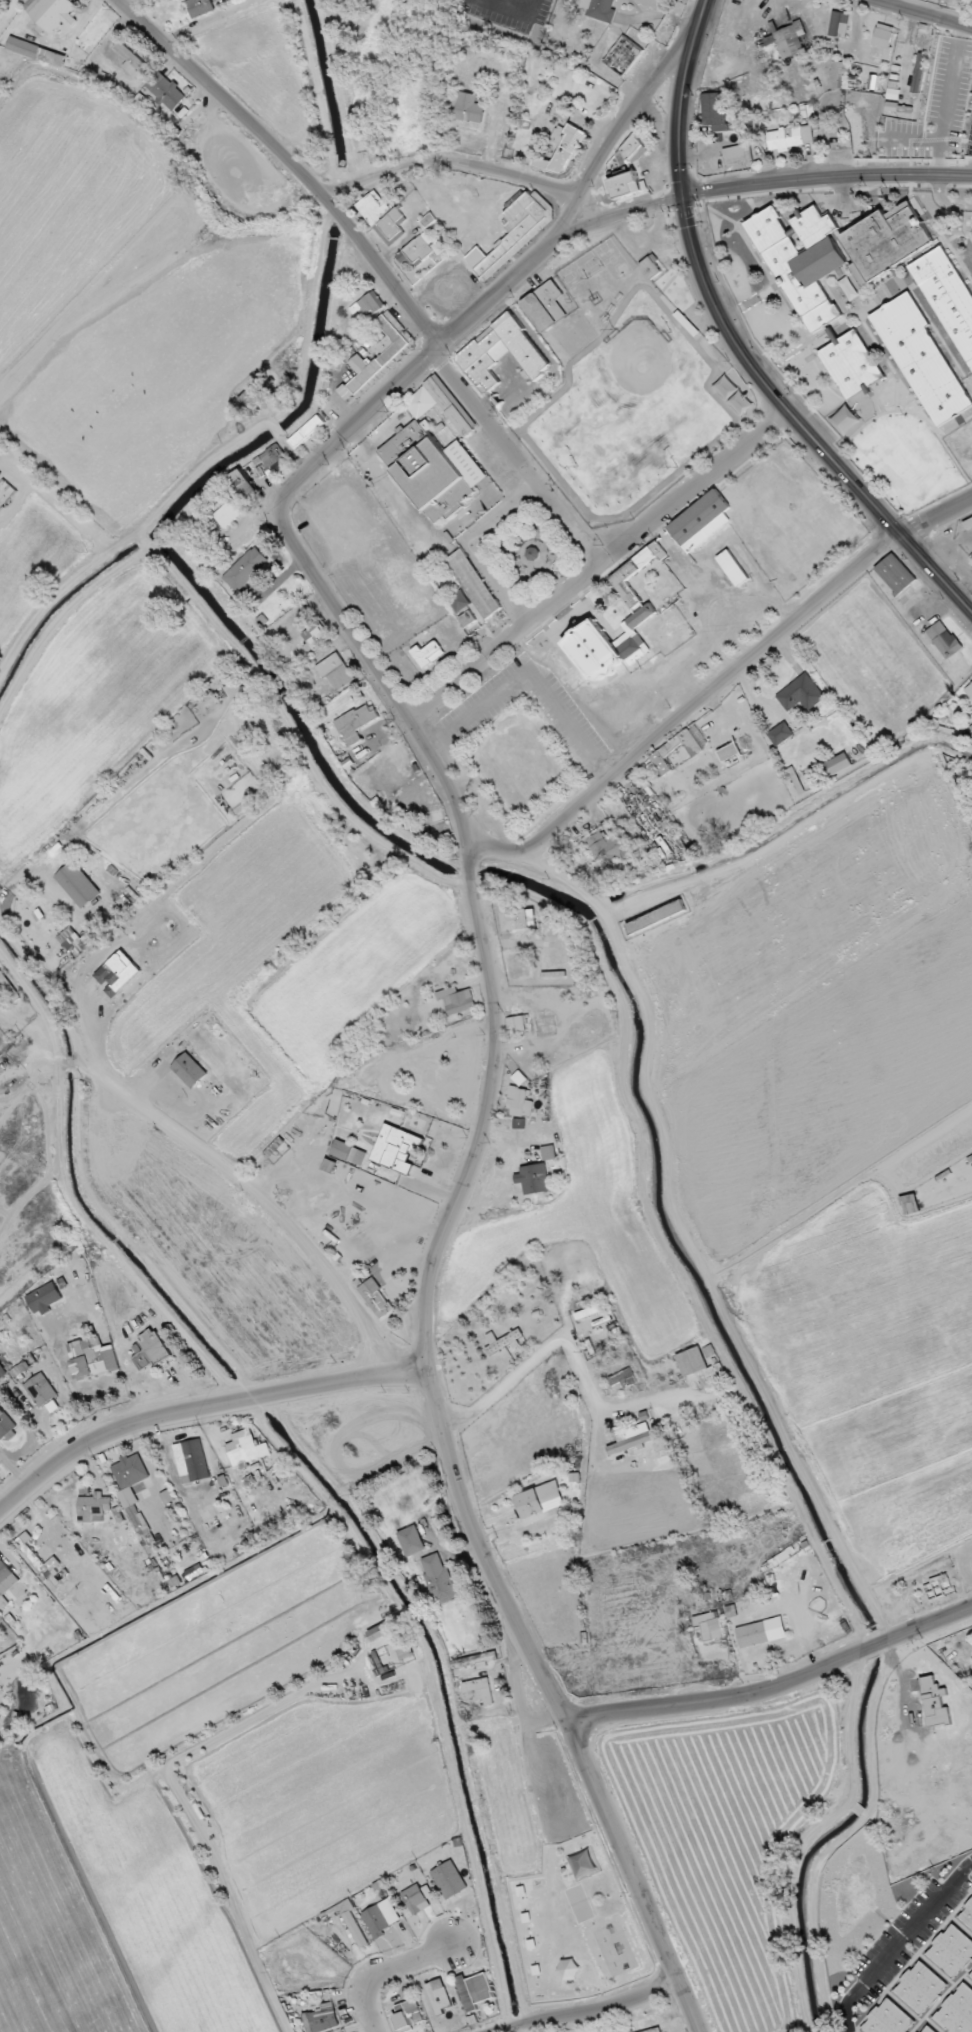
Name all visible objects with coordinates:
building: (200, 7)
building: (602, 9)
road: (9, 12)
road: (924, 12)
building: (51, 13)
building: (839, 24)
building: (883, 36)
building: (786, 40)
building: (37, 52)
building: (623, 55)
building: (132, 62)
building: (918, 73)
building: (165, 90)
road: (681, 97)
building: (469, 108)
building: (714, 111)
building: (807, 112)
road: (617, 133)
building: (790, 137)
building: (561, 148)
building: (632, 150)
building: (738, 155)
road: (291, 162)
road: (451, 168)
road: (826, 177)
building: (627, 185)
traffic signals: (683, 197)
building: (373, 207)
road: (616, 213)
building: (428, 220)
building: (510, 233)
building: (839, 240)
building: (887, 240)
building: (420, 250)
building: (803, 261)
building: (650, 266)
building: (949, 298)
building: (369, 305)
building: (545, 306)
building: (503, 353)
building: (380, 354)
building: (922, 360)
building: (851, 363)
road: (413, 369)
building: (441, 405)
road: (798, 422)
building: (306, 429)
road: (515, 456)
building: (270, 465)
building: (434, 470)
building: (245, 484)
building: (227, 513)
road: (602, 518)
building: (703, 520)
building: (534, 551)
road: (597, 563)
building: (732, 568)
building: (246, 569)
building: (895, 574)
building: (470, 593)
building: (636, 594)
building: (314, 636)
building: (944, 639)
building: (429, 652)
building: (593, 653)
building: (335, 671)
road: (385, 682)
road: (720, 683)
building: (969, 691)
building: (800, 693)
building: (354, 724)
building: (971, 726)
building: (780, 733)
building: (729, 752)
building: (661, 753)
building: (838, 763)
building: (606, 847)
road: (472, 877)
building: (77, 884)
building: (656, 917)
building: (515, 920)
building: (72, 939)
building: (118, 973)
building: (8, 990)
building: (456, 1000)
building: (517, 1023)
building: (190, 1070)
building: (519, 1102)
road: (483, 1129)
building: (396, 1148)
building: (548, 1152)
building: (348, 1153)
building: (533, 1178)
road: (265, 1202)
building: (910, 1204)
building: (44, 1298)
building: (375, 1298)
building: (502, 1341)
building: (151, 1349)
road: (504, 1355)
building: (92, 1358)
building: (692, 1361)
building: (2, 1371)
building: (623, 1378)
building: (40, 1390)
road: (200, 1406)
building: (6, 1427)
building: (630, 1443)
building: (245, 1448)
building: (191, 1461)
building: (130, 1471)
building: (540, 1500)
building: (93, 1508)
building: (411, 1541)
road: (480, 1550)
building: (438, 1579)
building: (6, 1582)
building: (709, 1625)
road: (924, 1626)
building: (379, 1632)
building: (761, 1632)
road: (870, 1647)
building: (478, 1691)
road: (719, 1699)
building: (0, 1710)
road: (546, 1720)
road: (540, 1837)
road: (632, 1876)
building: (449, 1879)
building: (417, 1898)
building: (967, 1916)
building: (381, 1917)
building: (355, 1929)
road: (897, 1942)
building: (951, 1950)
road: (380, 1968)
building: (568, 1969)
building: (971, 1975)
building: (920, 1987)
building: (474, 1990)
building: (438, 1996)
road: (592, 2008)
building: (408, 2009)
building: (957, 2011)
building: (322, 2019)
building: (888, 2019)
road: (683, 2024)
building: (622, 2028)
building: (928, 2029)
building: (654, 2030)

